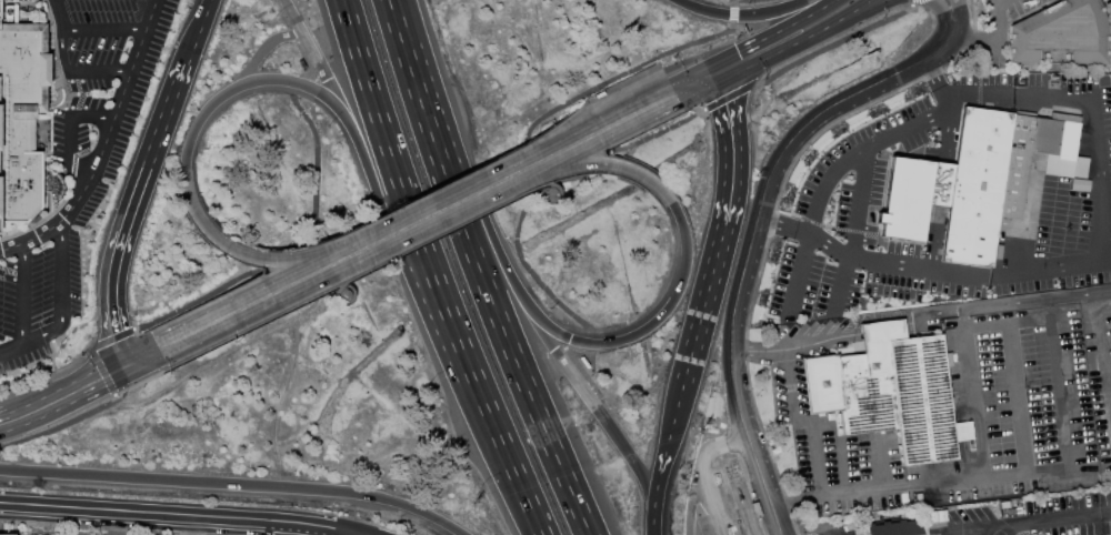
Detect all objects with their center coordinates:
road: (740, 0)
road: (388, 2)
road: (914, 2)
road: (941, 12)
road: (859, 13)
road: (848, 14)
road: (57, 16)
road: (740, 16)
road: (955, 16)
road: (47, 18)
road: (801, 19)
road: (101, 29)
road: (196, 31)
building: (1060, 34)
road: (398, 37)
road: (990, 38)
road: (47, 39)
road: (800, 39)
road: (997, 43)
road: (833, 44)
road: (54, 48)
road: (261, 52)
road: (313, 57)
road: (742, 59)
traffic signals: (740, 61)
road: (645, 62)
building: (306, 63)
road: (634, 65)
parking lot: (91, 69)
road: (91, 69)
road: (47, 70)
road: (46, 71)
road: (54, 71)
road: (76, 72)
road: (300, 73)
road: (937, 81)
road: (77, 83)
road: (243, 83)
road: (294, 84)
road: (692, 84)
traffic signals: (675, 93)
road: (64, 95)
road: (729, 95)
road: (78, 101)
road: (53, 102)
traffic signals: (724, 103)
road: (1091, 103)
road: (66, 111)
road: (116, 112)
building: (20, 118)
road: (68, 125)
road: (598, 130)
road: (658, 132)
road: (731, 150)
road: (314, 163)
road: (603, 164)
road: (1034, 168)
road: (397, 173)
road: (829, 173)
road: (771, 175)
building: (991, 178)
road: (561, 181)
road: (467, 183)
road: (541, 183)
road: (941, 184)
building: (912, 195)
road: (553, 196)
road: (858, 200)
road: (58, 205)
road: (439, 210)
road: (128, 211)
road: (1027, 223)
building: (0, 230)
road: (394, 232)
road: (32, 238)
road: (243, 254)
road: (378, 262)
road: (931, 266)
road: (60, 269)
road: (10, 271)
road: (537, 274)
road: (842, 282)
parking lot: (39, 287)
road: (21, 293)
road: (194, 301)
road: (256, 301)
road: (342, 301)
road: (343, 301)
road: (1005, 301)
road: (492, 304)
road: (702, 307)
road: (960, 315)
road: (57, 327)
road: (644, 327)
road: (882, 329)
road: (34, 340)
road: (110, 340)
road: (794, 343)
road: (10, 349)
road: (53, 352)
road: (219, 361)
traffic signals: (128, 364)
road: (1013, 366)
road: (101, 372)
road: (47, 374)
road: (141, 382)
road: (86, 385)
building: (888, 391)
road: (1109, 391)
road: (282, 396)
road: (592, 404)
road: (741, 421)
road: (7, 422)
road: (58, 424)
road: (815, 435)
road: (500, 440)
road: (714, 446)
road: (664, 450)
road: (843, 462)
road: (236, 484)
road: (762, 485)
road: (880, 486)
road: (690, 497)
road: (711, 503)
parking lot: (719, 506)
road: (179, 515)
road: (1053, 517)
road: (652, 524)
road: (191, 525)
road: (812, 526)
road: (96, 527)
building: (894, 527)
road: (968, 527)
road: (995, 529)
building: (7, 534)
road: (358, 534)
road: (360, 534)

